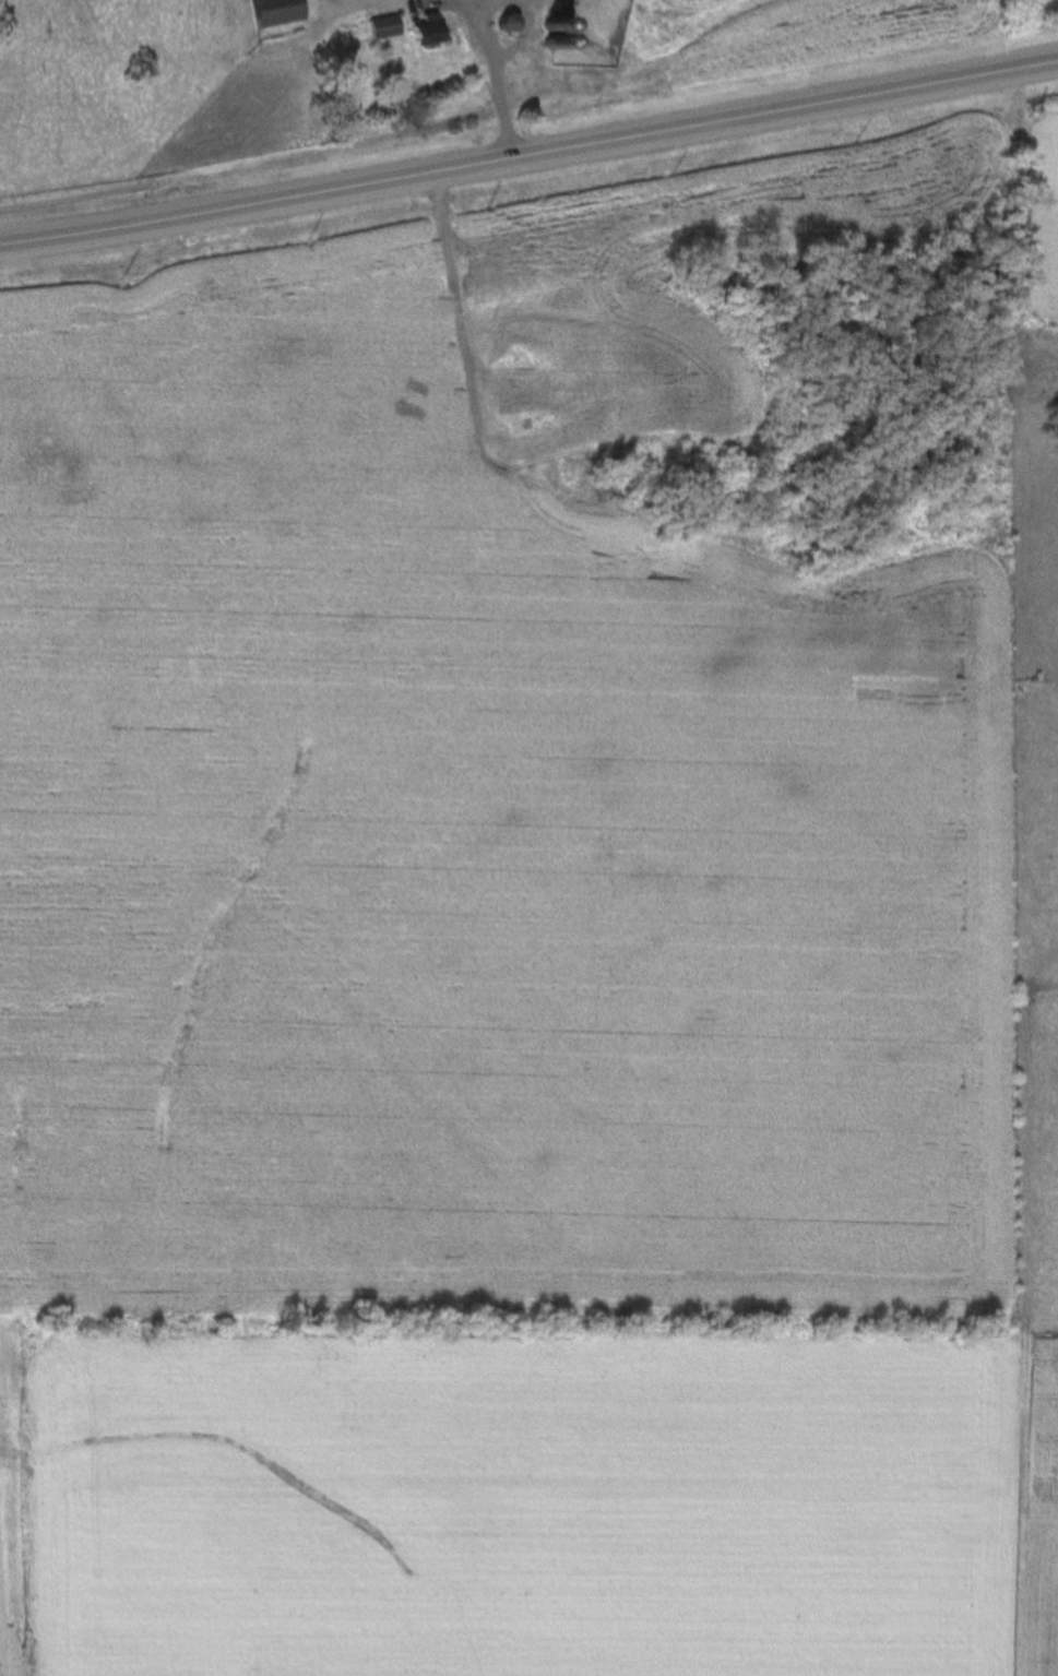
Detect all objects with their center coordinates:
road: (367, 3)
road: (504, 3)
building: (274, 12)
building: (510, 21)
building: (551, 24)
building: (381, 28)
building: (423, 32)
road: (518, 39)
building: (551, 43)
road: (496, 78)
road: (530, 157)
road: (579, 649)

